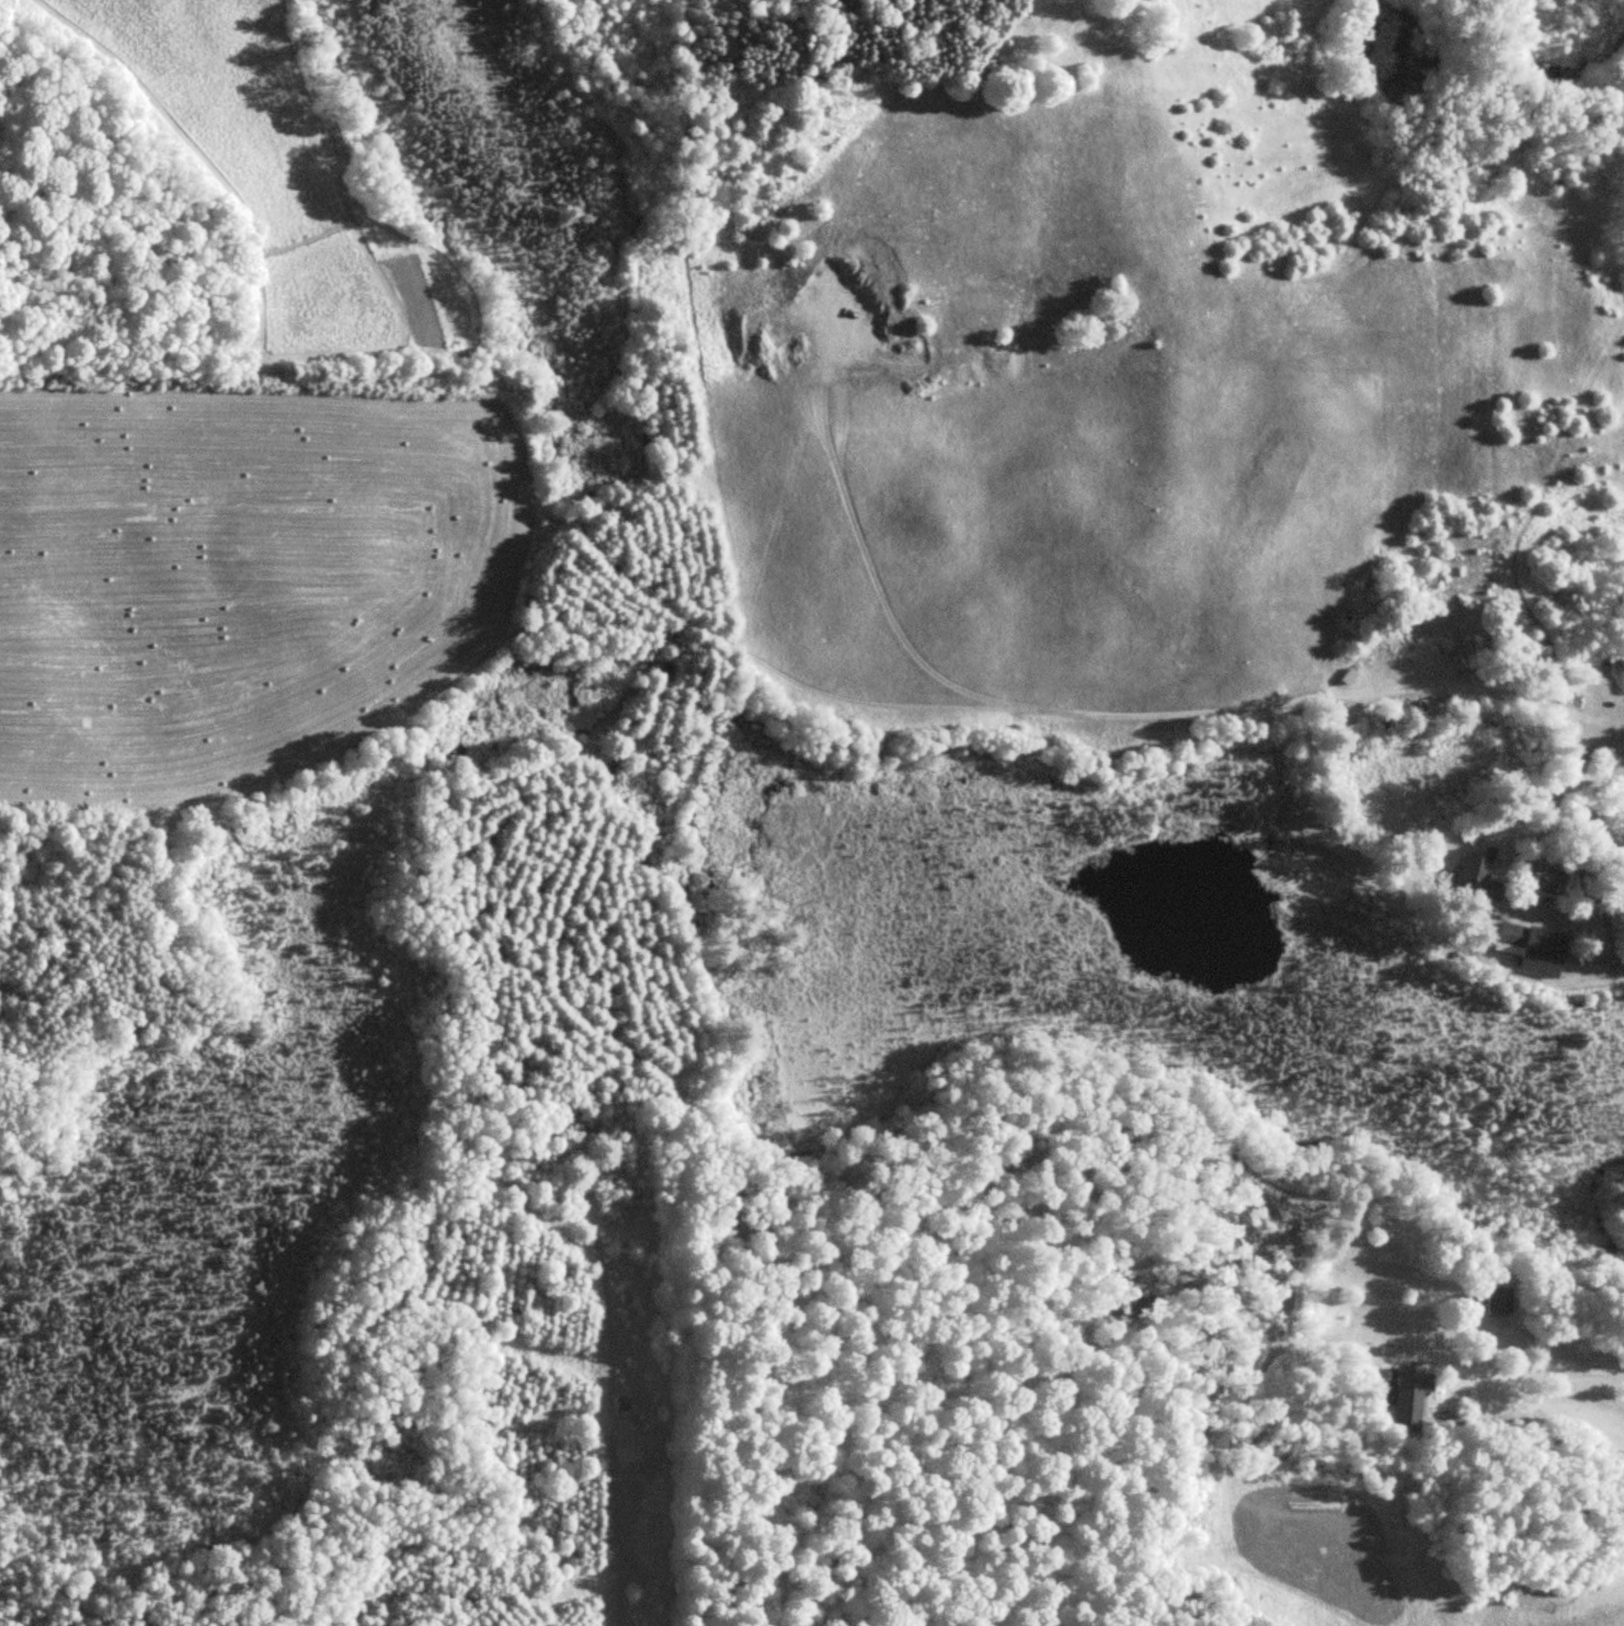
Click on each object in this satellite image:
building: (1480, 877)
building: (1616, 912)
building: (1536, 947)
building: (1501, 1298)
building: (1413, 1396)

